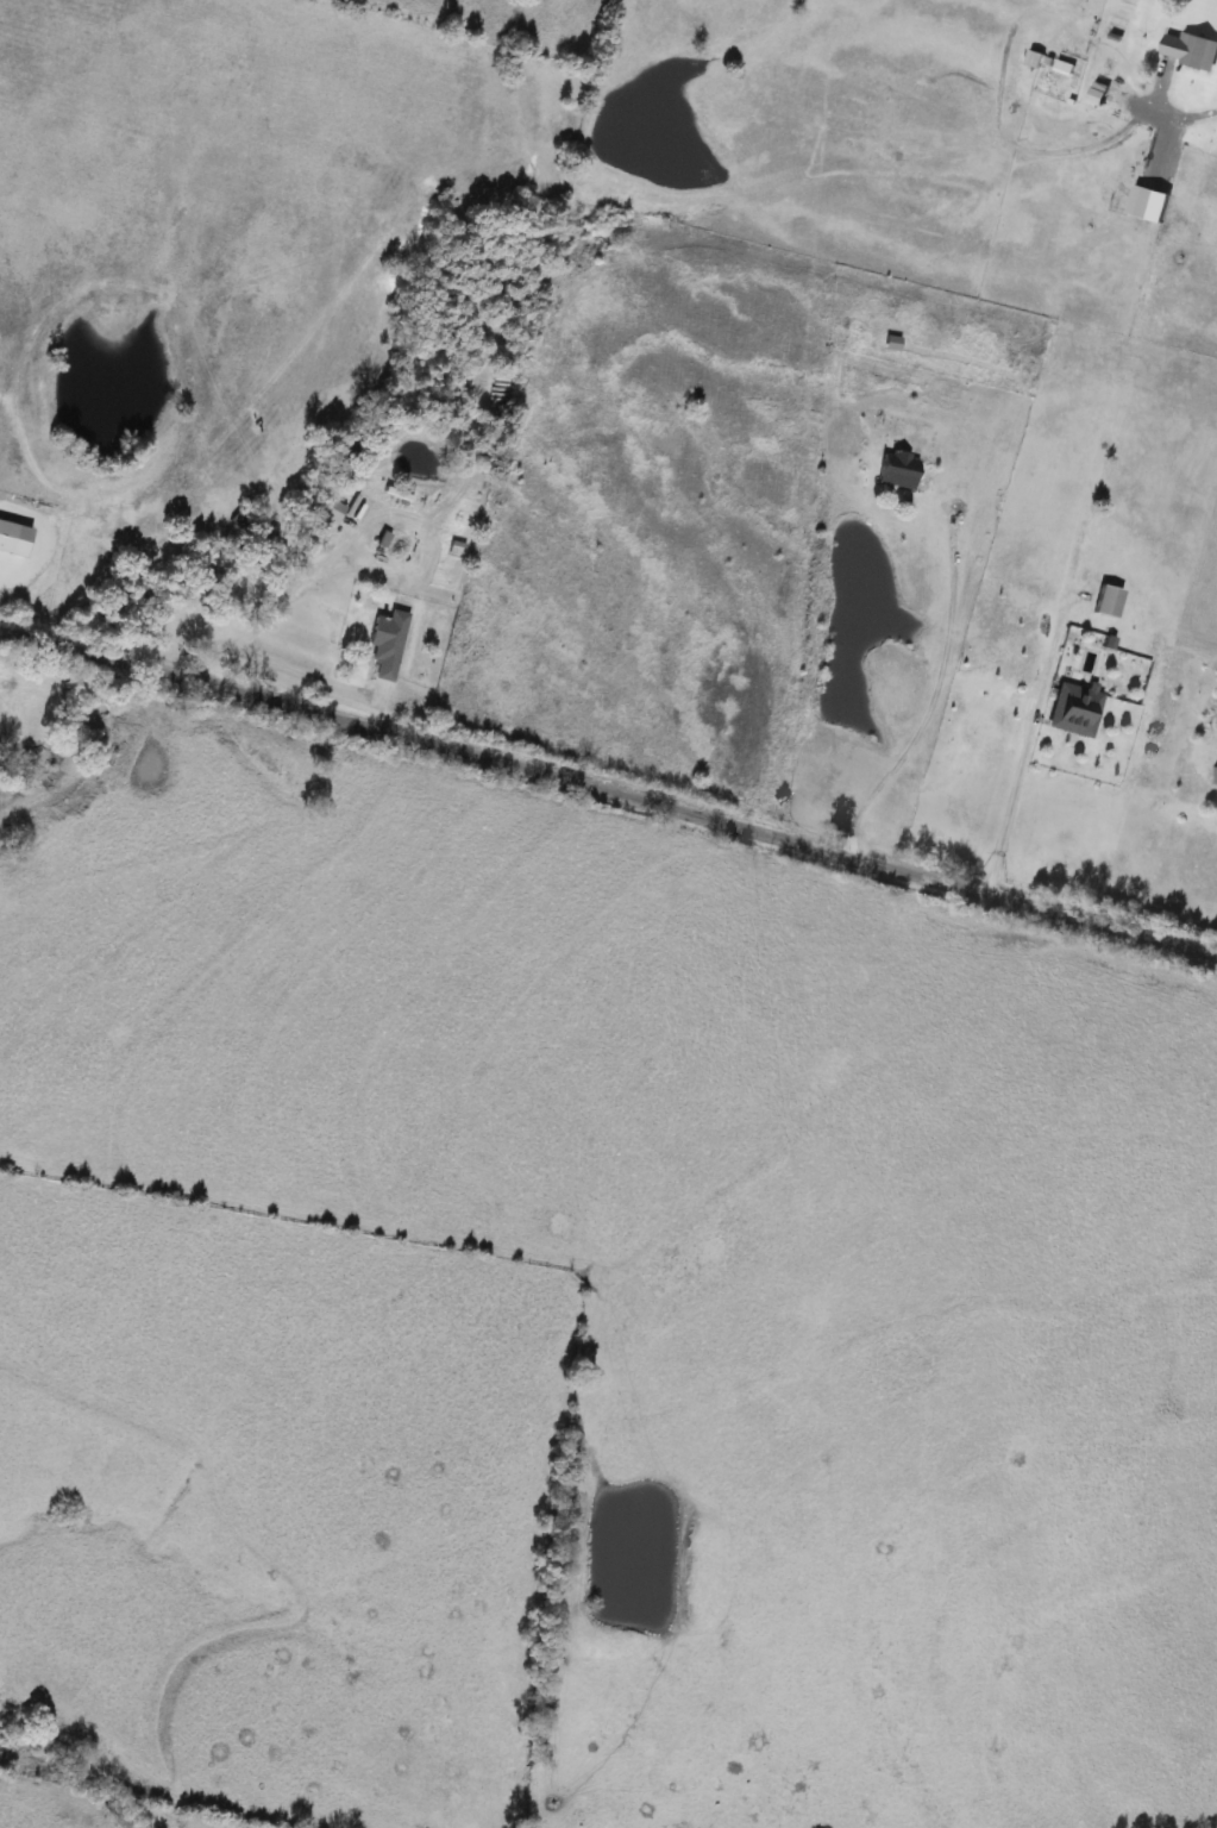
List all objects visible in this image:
building: (1191, 50)
road: (1191, 113)
building: (897, 469)
building: (327, 517)
building: (1108, 601)
building: (387, 641)
road: (266, 664)
road: (934, 693)
building: (1074, 708)
road: (1025, 741)
road: (608, 793)

